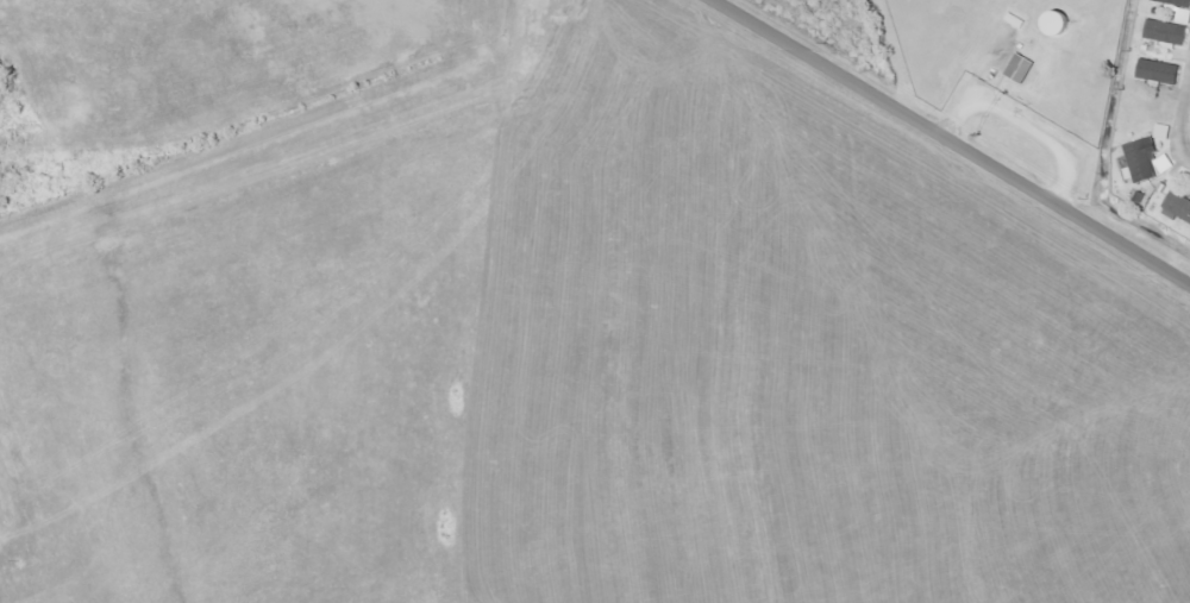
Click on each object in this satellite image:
building: (1171, 5)
building: (1184, 15)
water tower: (1066, 24)
building: (1166, 32)
road: (825, 68)
building: (1020, 69)
building: (1159, 71)
road: (978, 82)
road: (1184, 119)
building: (1163, 132)
road: (1045, 138)
road: (1185, 152)
building: (1147, 161)
building: (1178, 206)
road: (1064, 212)

